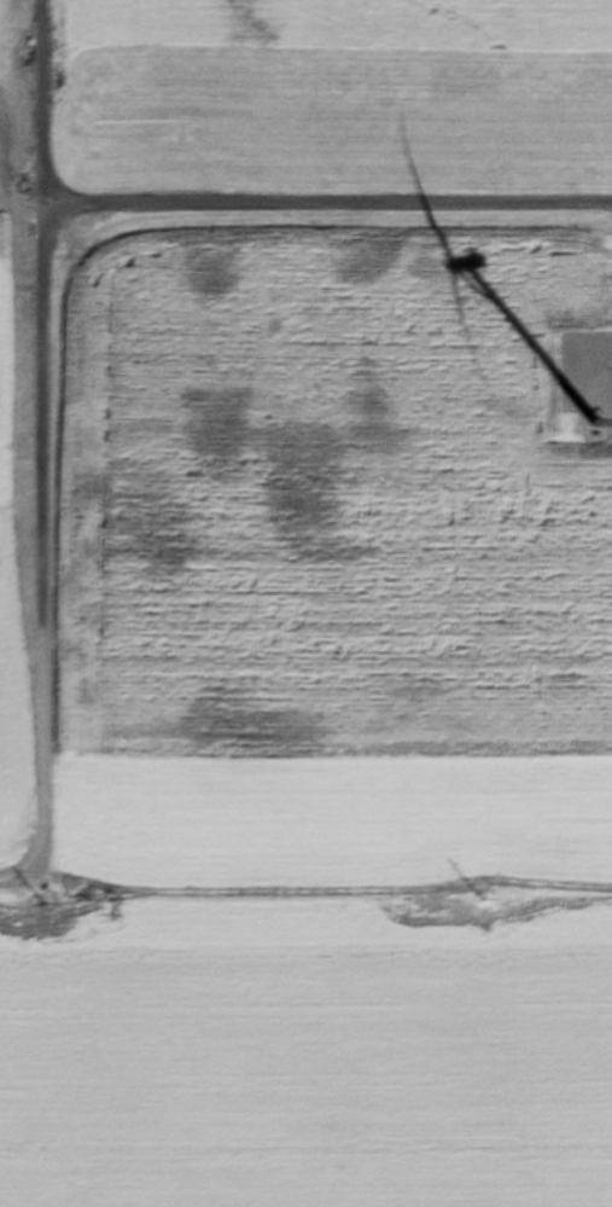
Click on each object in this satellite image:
road: (324, 210)
building: (575, 430)
wind turbine: (594, 430)
road: (36, 431)

